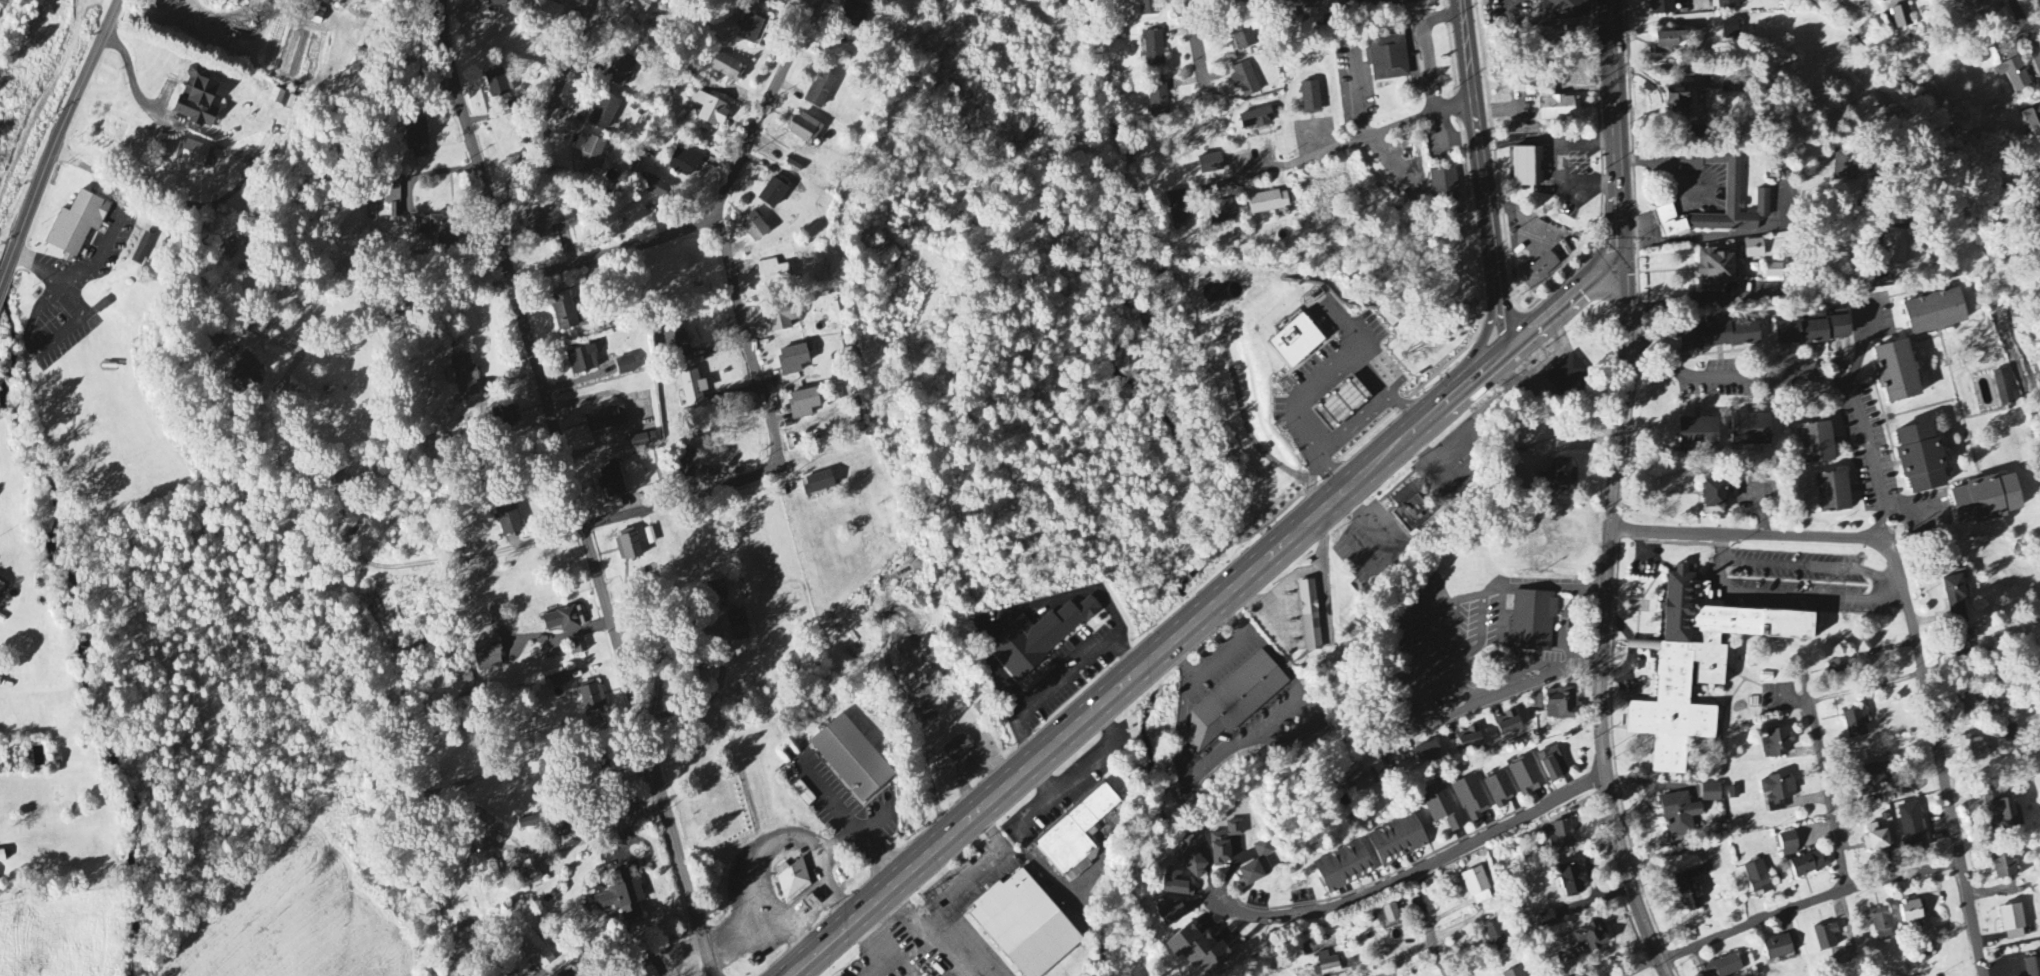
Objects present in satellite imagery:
building: (1358, 1)
building: (1413, 2)
building: (496, 3)
building: (1728, 5)
building: (1661, 7)
building: (640, 8)
building: (1148, 8)
building: (1312, 8)
building: (1561, 10)
building: (546, 13)
building: (853, 13)
building: (1901, 17)
building: (749, 29)
building: (1730, 31)
road: (2025, 33)
building: (1243, 37)
building: (1668, 42)
road: (1197, 46)
building: (1154, 50)
building: (1388, 59)
building: (727, 68)
building: (620, 70)
building: (2013, 72)
building: (1244, 79)
building: (496, 84)
road: (134, 88)
building: (820, 91)
building: (1311, 98)
building: (1677, 98)
building: (197, 100)
building: (282, 100)
building: (1158, 100)
building: (515, 108)
building: (1558, 108)
road: (462, 110)
road: (549, 110)
building: (711, 111)
building: (604, 112)
building: (2031, 118)
building: (1255, 119)
power tower: (37, 124)
building: (804, 129)
road: (1616, 137)
building: (417, 140)
road: (56, 142)
road: (1337, 147)
building: (592, 154)
building: (195, 156)
building: (685, 163)
building: (1210, 164)
building: (2039, 165)
building: (1841, 166)
building: (1527, 167)
road: (1484, 171)
building: (1443, 184)
building: (654, 188)
building: (772, 195)
building: (392, 197)
building: (1268, 203)
road: (199, 205)
building: (371, 205)
building: (1736, 208)
building: (1180, 211)
building: (1222, 211)
building: (1671, 223)
building: (542, 224)
road: (720, 225)
building: (76, 226)
building: (753, 228)
building: (434, 231)
road: (1606, 232)
road: (113, 233)
building: (1897, 247)
road: (616, 249)
building: (1754, 249)
building: (142, 250)
building: (1544, 267)
building: (1718, 271)
building: (1774, 273)
building: (772, 274)
traffic signals: (1624, 275)
road: (1813, 292)
road: (1565, 299)
road: (1688, 299)
road: (417, 307)
building: (563, 311)
building: (1934, 313)
building: (839, 314)
road: (1492, 316)
building: (782, 318)
road: (353, 329)
building: (1813, 330)
building: (1717, 337)
building: (674, 341)
building: (1294, 342)
road: (1864, 344)
building: (582, 361)
building: (792, 361)
building: (624, 367)
building: (1897, 372)
building: (246, 374)
building: (1567, 374)
building: (464, 377)
road: (1811, 379)
building: (2003, 388)
building: (692, 389)
building: (803, 404)
building: (1340, 404)
building: (504, 418)
building: (605, 419)
building: (1749, 431)
building: (1697, 432)
building: (641, 441)
road: (1557, 442)
building: (1816, 444)
building: (1920, 459)
building: (1560, 476)
building: (611, 481)
building: (818, 484)
building: (329, 488)
building: (1832, 492)
building: (1713, 497)
building: (1985, 500)
road: (1913, 509)
building: (1410, 510)
building: (504, 514)
road: (588, 525)
road: (1768, 535)
building: (628, 546)
road: (1794, 566)
road: (1895, 583)
building: (1, 587)
road: (1796, 596)
road: (603, 597)
building: (1955, 597)
building: (492, 615)
building: (1310, 616)
building: (1533, 619)
building: (564, 620)
building: (737, 626)
road: (1604, 629)
road: (558, 634)
building: (1040, 637)
building: (1963, 644)
building: (576, 646)
road: (1218, 655)
building: (486, 657)
road: (1151, 657)
building: (1697, 664)
building: (1837, 665)
road: (1061, 678)
building: (559, 681)
road: (714, 696)
building: (592, 697)
road: (1493, 699)
building: (1233, 702)
building: (1563, 705)
building: (1855, 723)
building: (1506, 724)
road: (607, 729)
building: (2010, 734)
building: (1468, 739)
building: (1776, 744)
building: (957, 749)
building: (1972, 749)
building: (1426, 751)
building: (1408, 753)
building: (57, 759)
building: (851, 759)
building: (1550, 763)
road: (1084, 765)
building: (1526, 776)
building: (1873, 777)
road: (1944, 778)
road: (1825, 780)
building: (1365, 781)
building: (1500, 790)
building: (1777, 792)
building: (1711, 793)
building: (1733, 794)
building: (1471, 798)
building: (1443, 808)
building: (2001, 811)
road: (620, 814)
building: (1679, 815)
building: (1912, 826)
building: (1076, 836)
building: (1561, 837)
building: (1876, 838)
road: (864, 841)
building: (1397, 841)
road: (485, 842)
road: (1024, 842)
road: (769, 843)
building: (1223, 843)
building: (1789, 845)
building: (1189, 856)
building: (2, 857)
building: (1808, 864)
building: (1257, 865)
building: (2004, 865)
building: (1343, 868)
road: (1417, 872)
building: (526, 874)
building: (793, 880)
road: (970, 880)
building: (1571, 880)
building: (1758, 880)
building: (1175, 884)
building: (1477, 887)
building: (1689, 891)
building: (623, 896)
road: (1808, 905)
building: (1170, 911)
building: (1911, 911)
building: (1390, 914)
road: (901, 916)
building: (1880, 923)
building: (2012, 923)
building: (1024, 926)
building: (1590, 936)
building: (1496, 937)
building: (1825, 937)
road: (883, 947)
building: (1777, 948)
building: (534, 950)
building: (1196, 950)
road: (940, 952)
road: (1439, 957)
building: (1328, 964)
building: (1721, 967)
building: (2032, 967)
road: (1642, 968)
building: (642, 969)
building: (571, 972)
building: (1514, 973)

